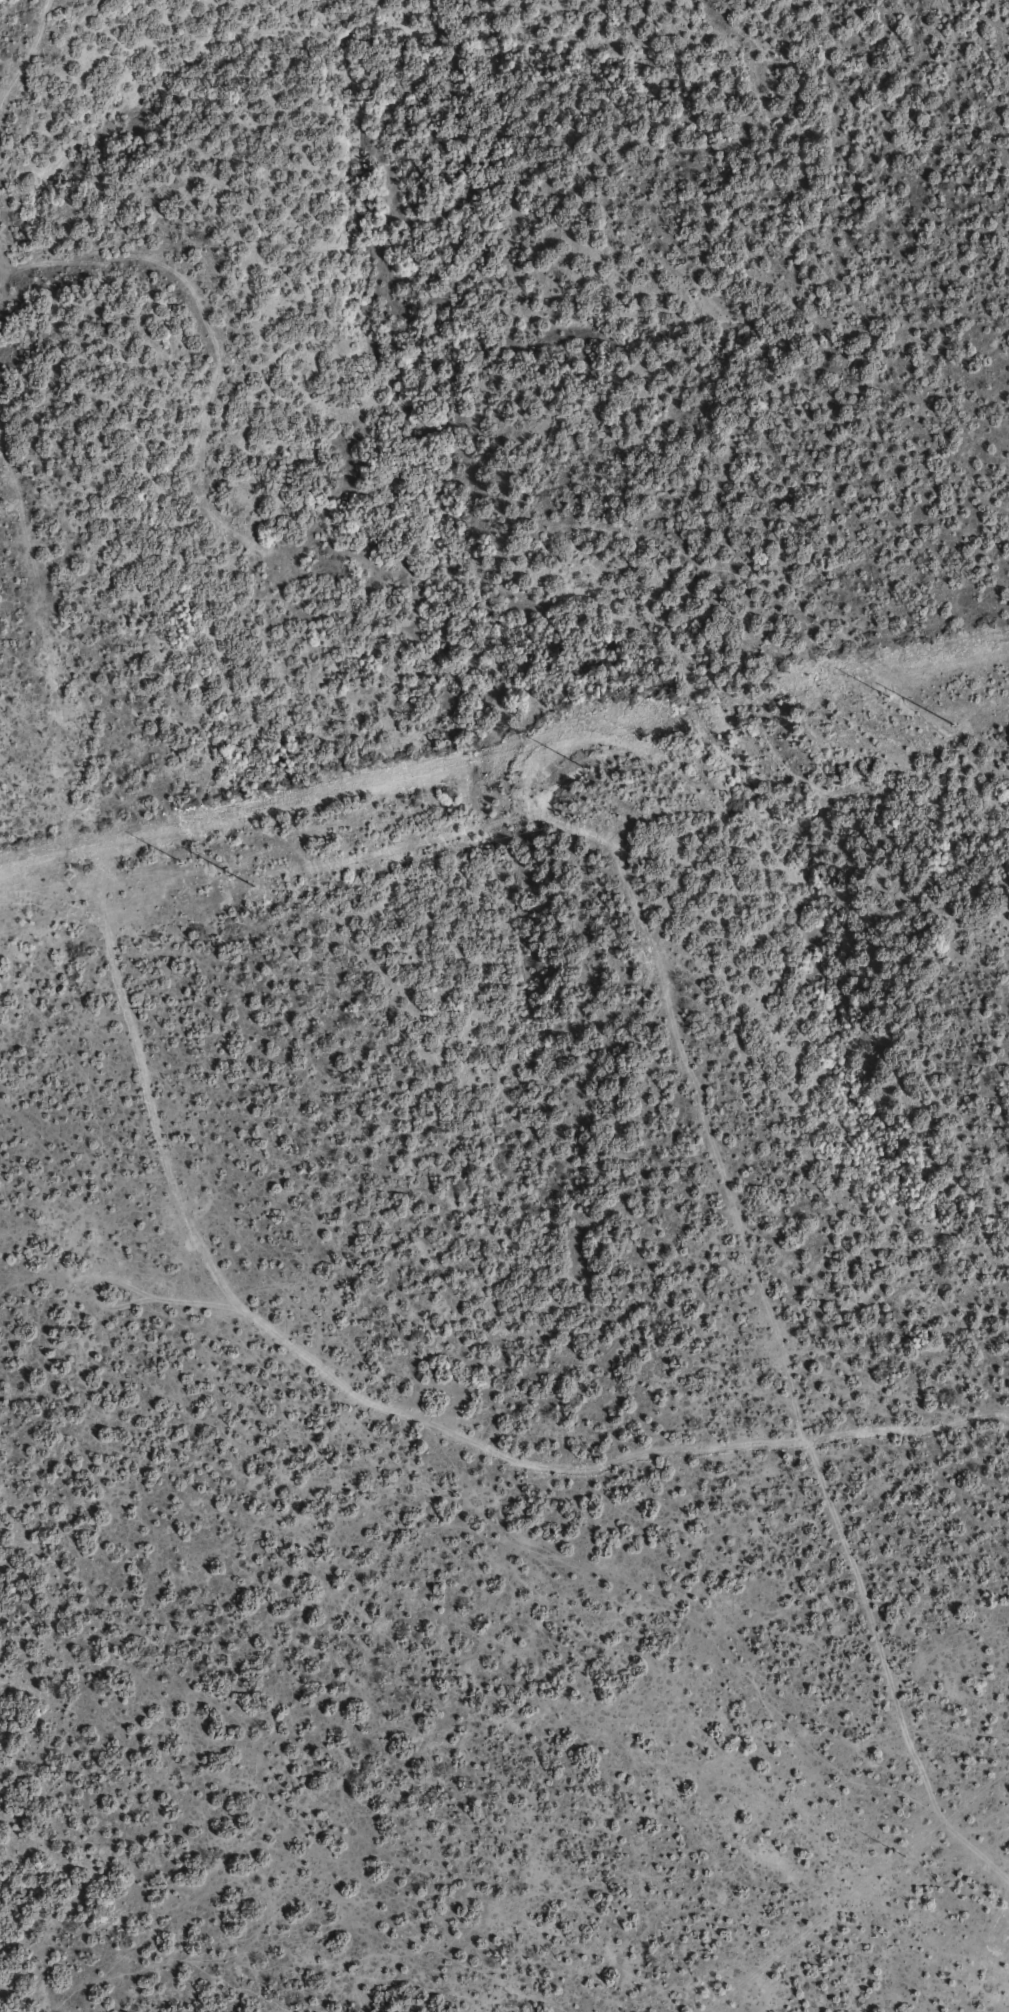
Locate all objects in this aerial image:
power tower: (886, 695)
power tower: (951, 725)
power tower: (581, 768)
power tower: (180, 862)
power tower: (245, 887)
road: (366, 1397)
power tower: (906, 1856)

